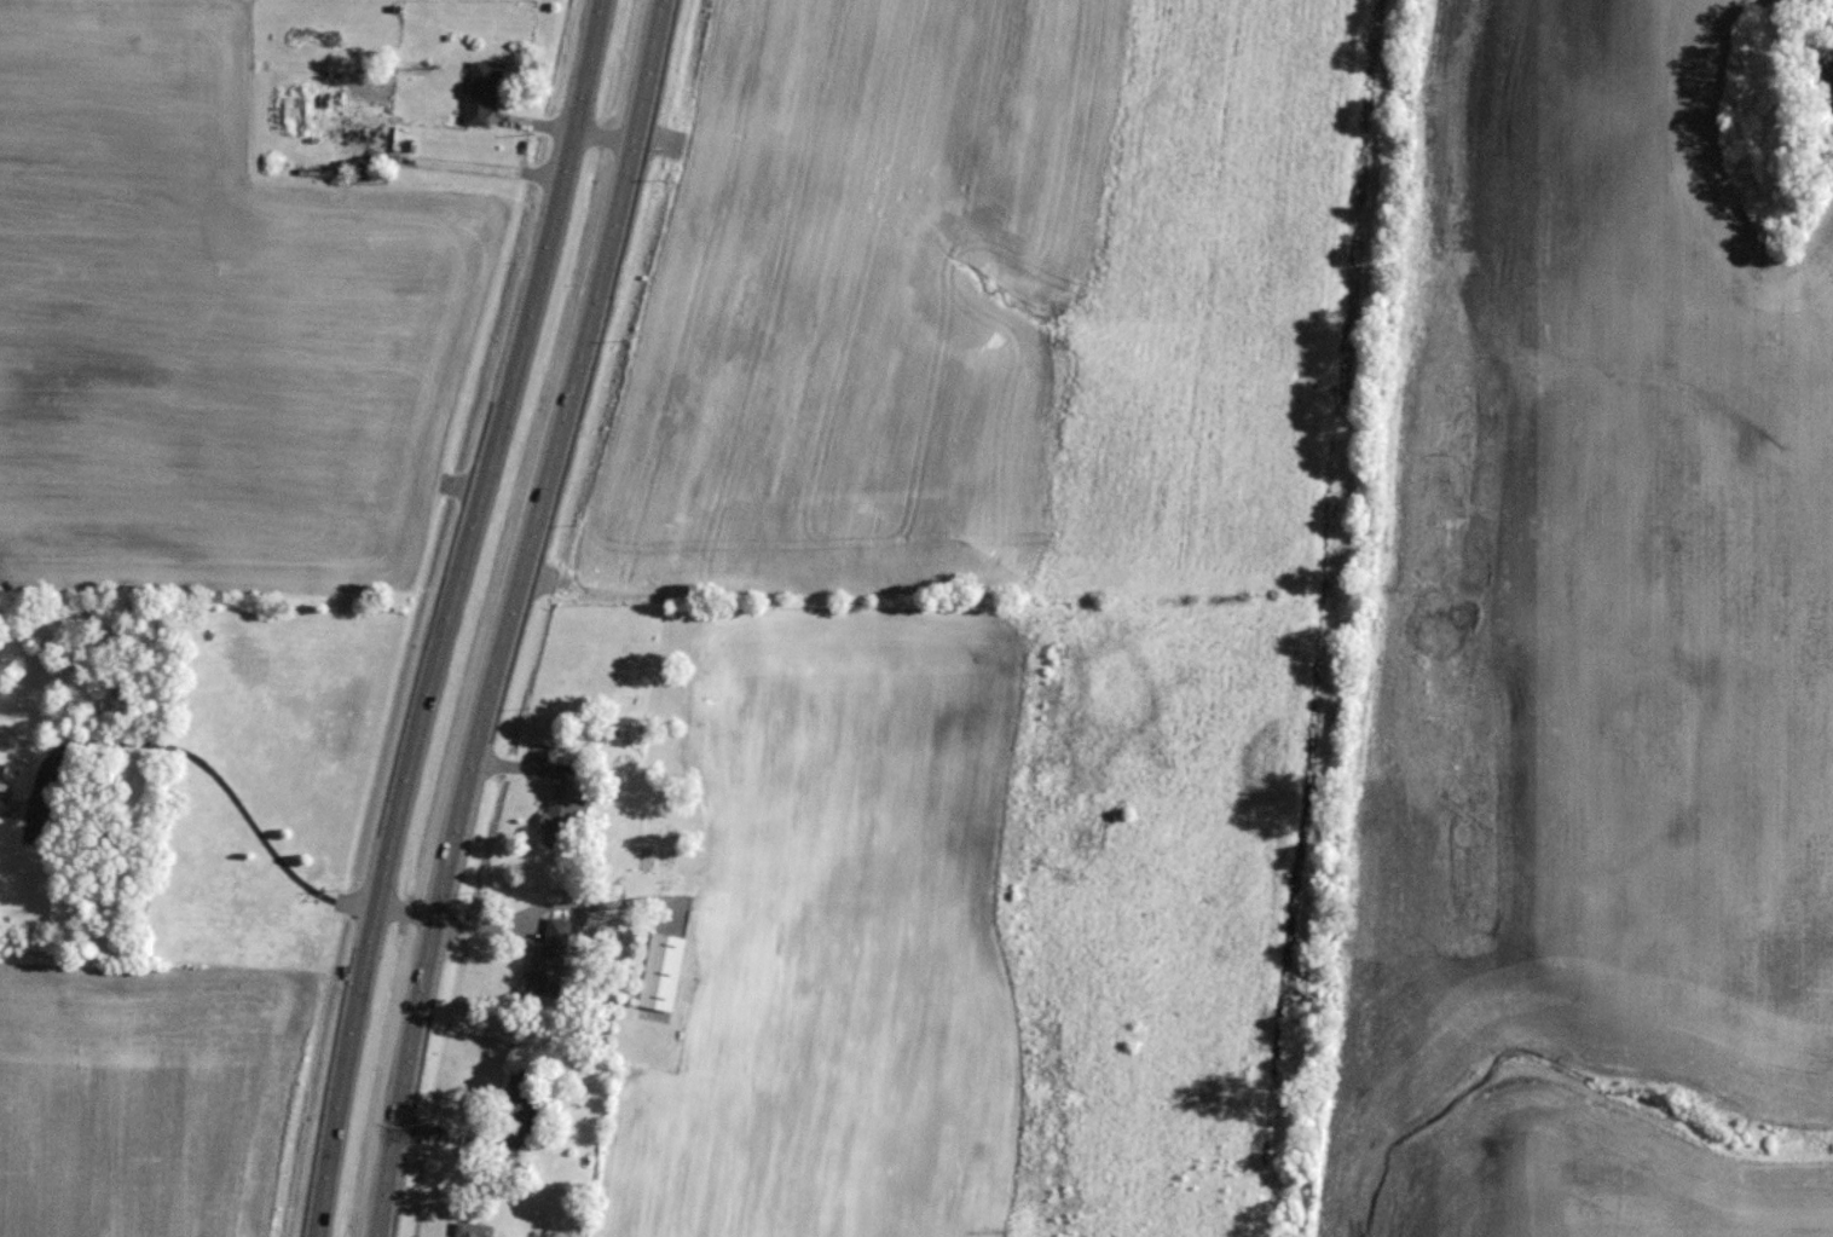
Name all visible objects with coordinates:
building: (481, 92)
road: (445, 614)
road: (511, 615)
building: (630, 729)
building: (2, 787)
building: (560, 814)
building: (548, 959)
building: (660, 971)
building: (516, 1103)
building: (472, 1230)

